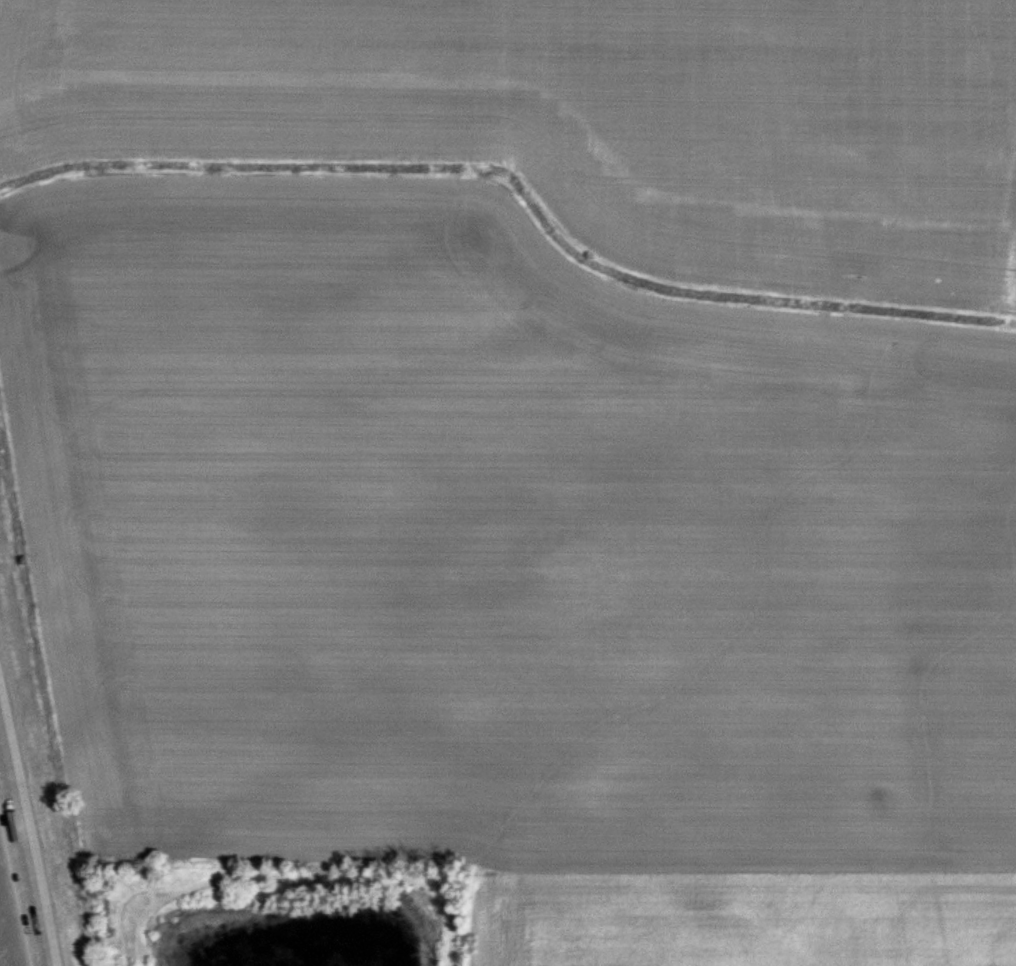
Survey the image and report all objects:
road: (24, 858)

